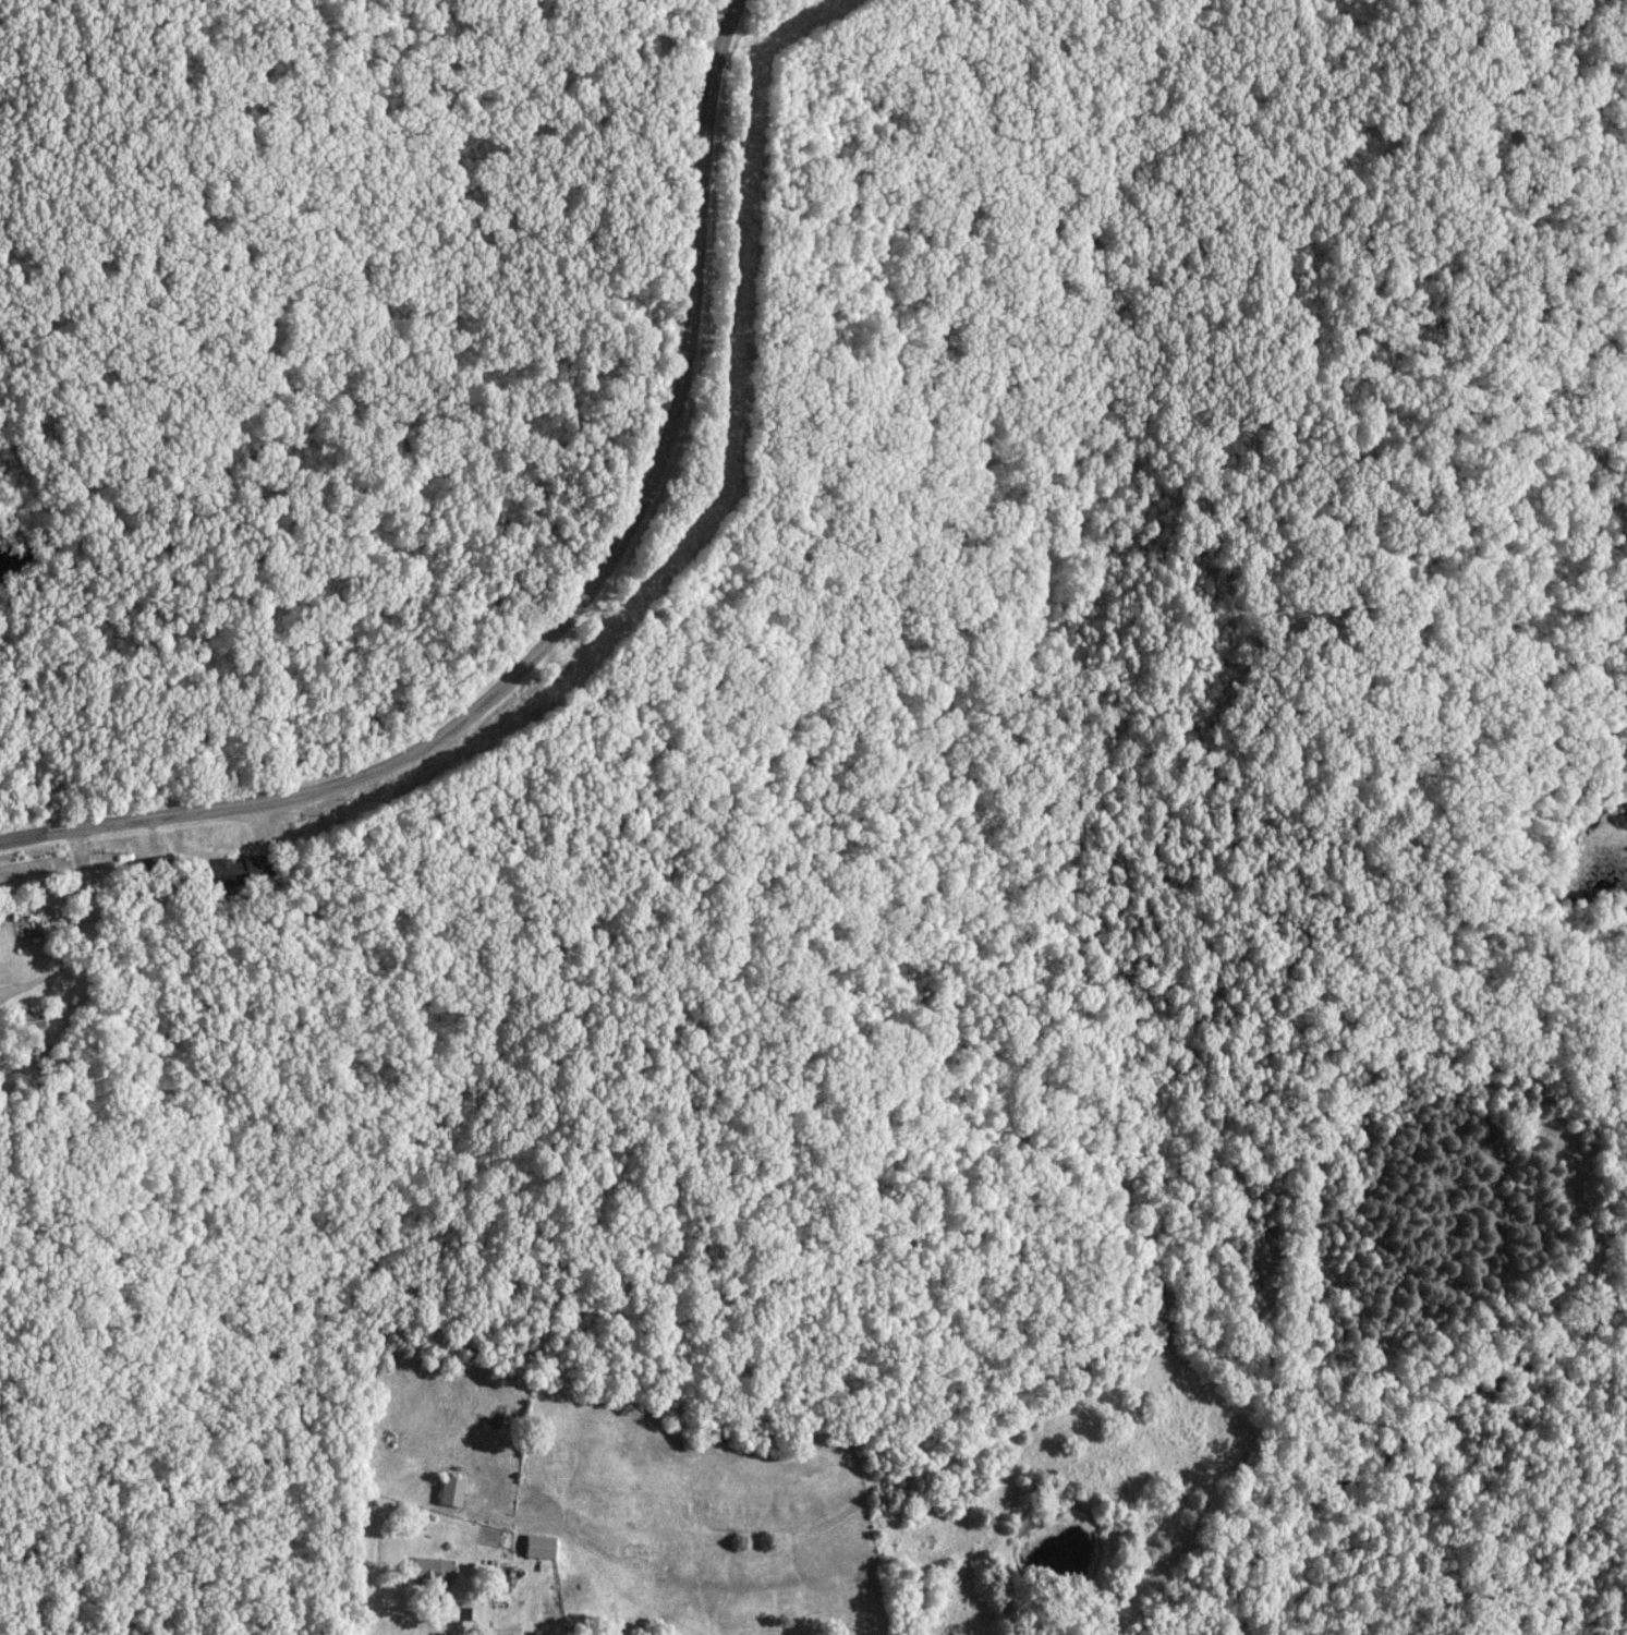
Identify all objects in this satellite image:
road: (572, 606)
building: (242, 872)
road: (82, 931)
building: (32, 1024)
building: (454, 1492)
building: (543, 1548)
building: (435, 1571)
road: (437, 1615)

